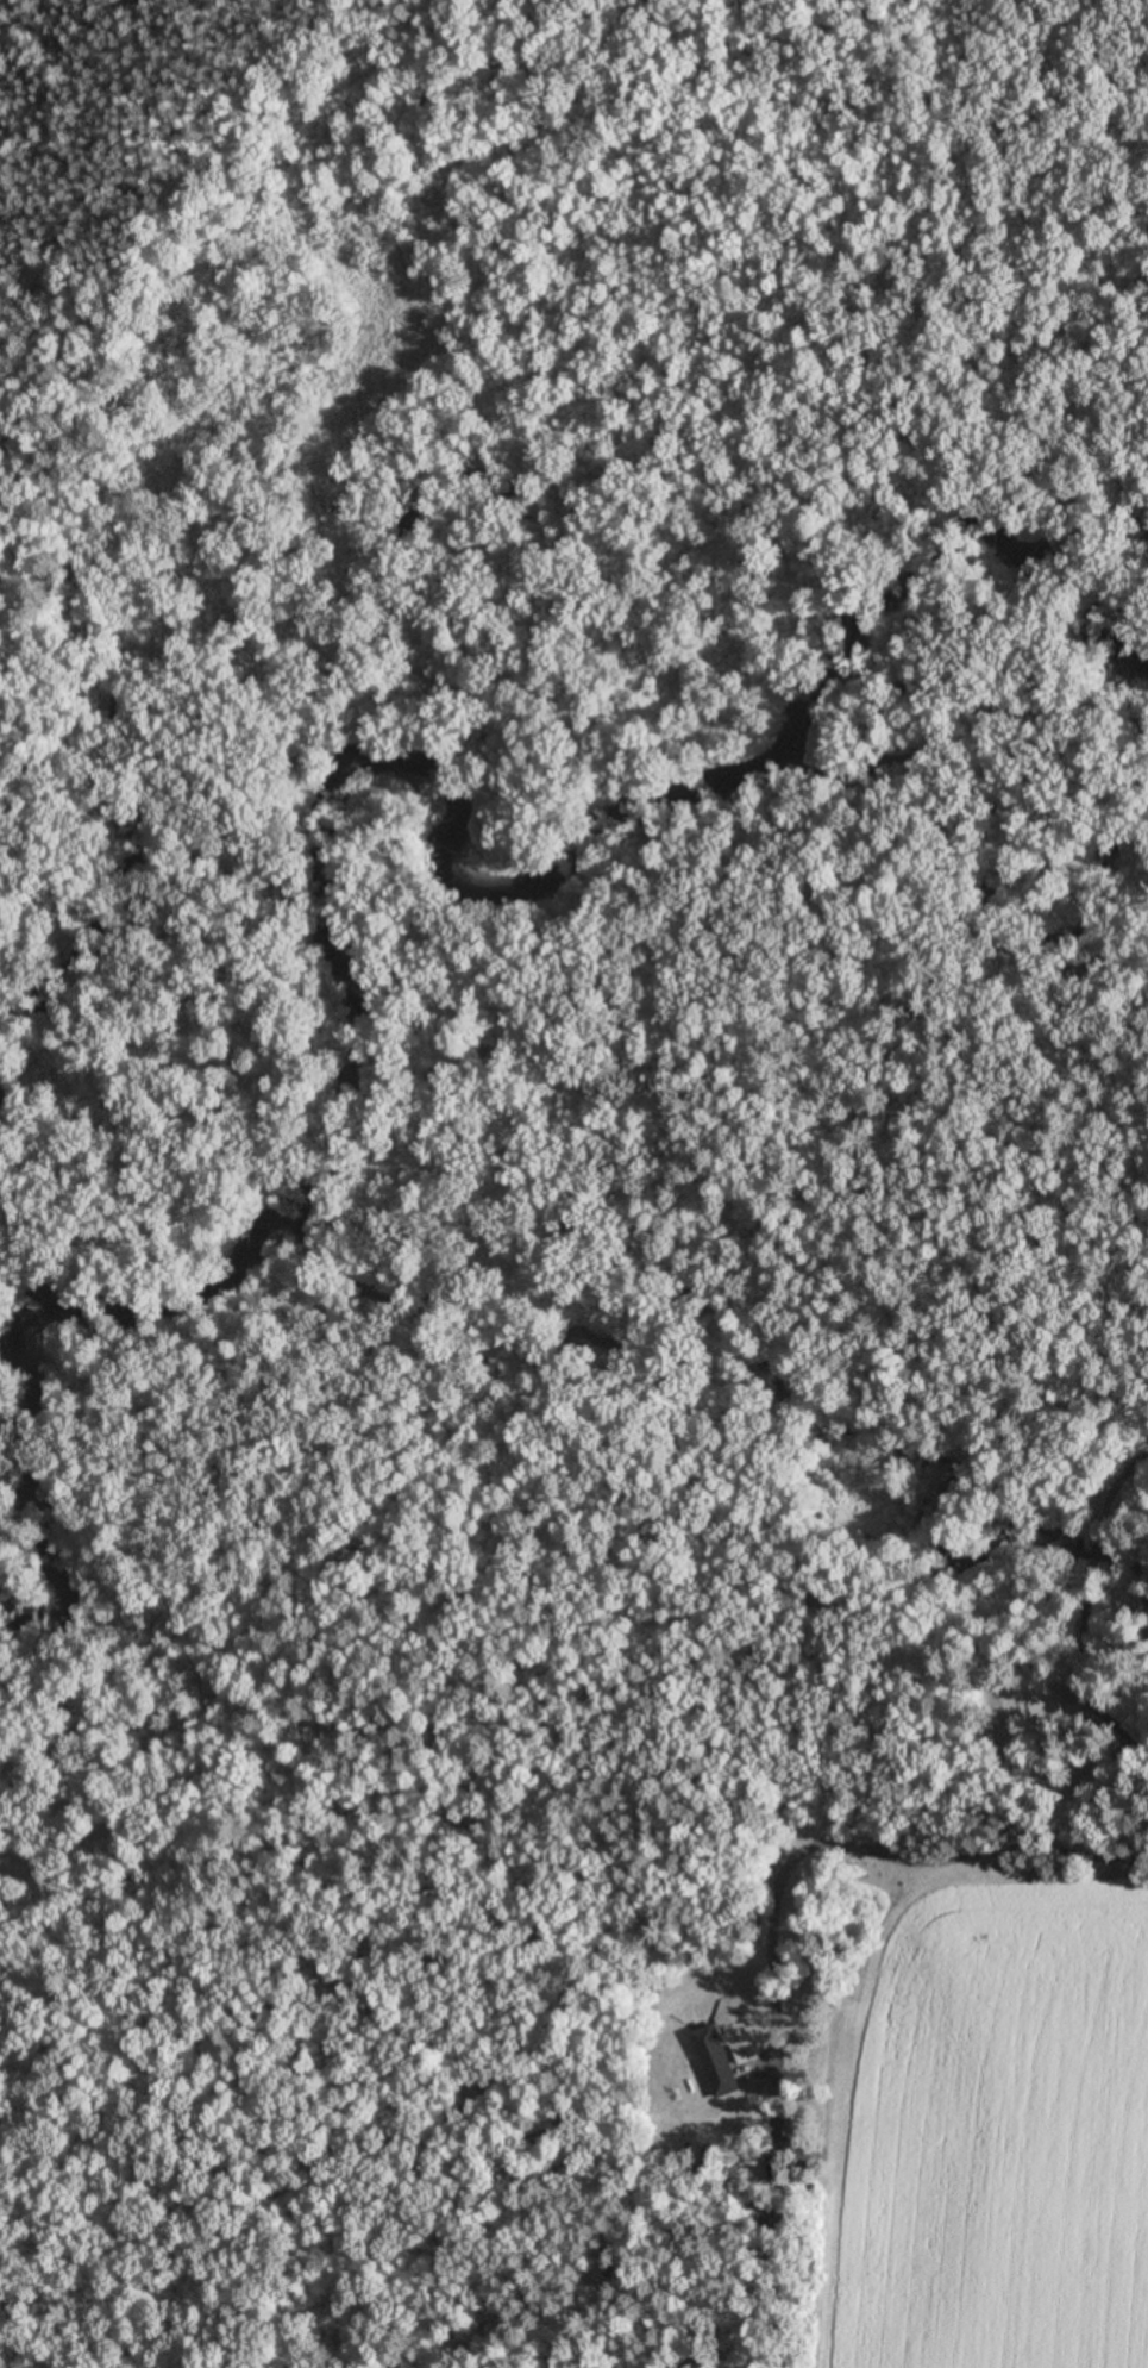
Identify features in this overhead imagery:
road: (1004, 1837)
road: (776, 1912)
building: (714, 2060)

